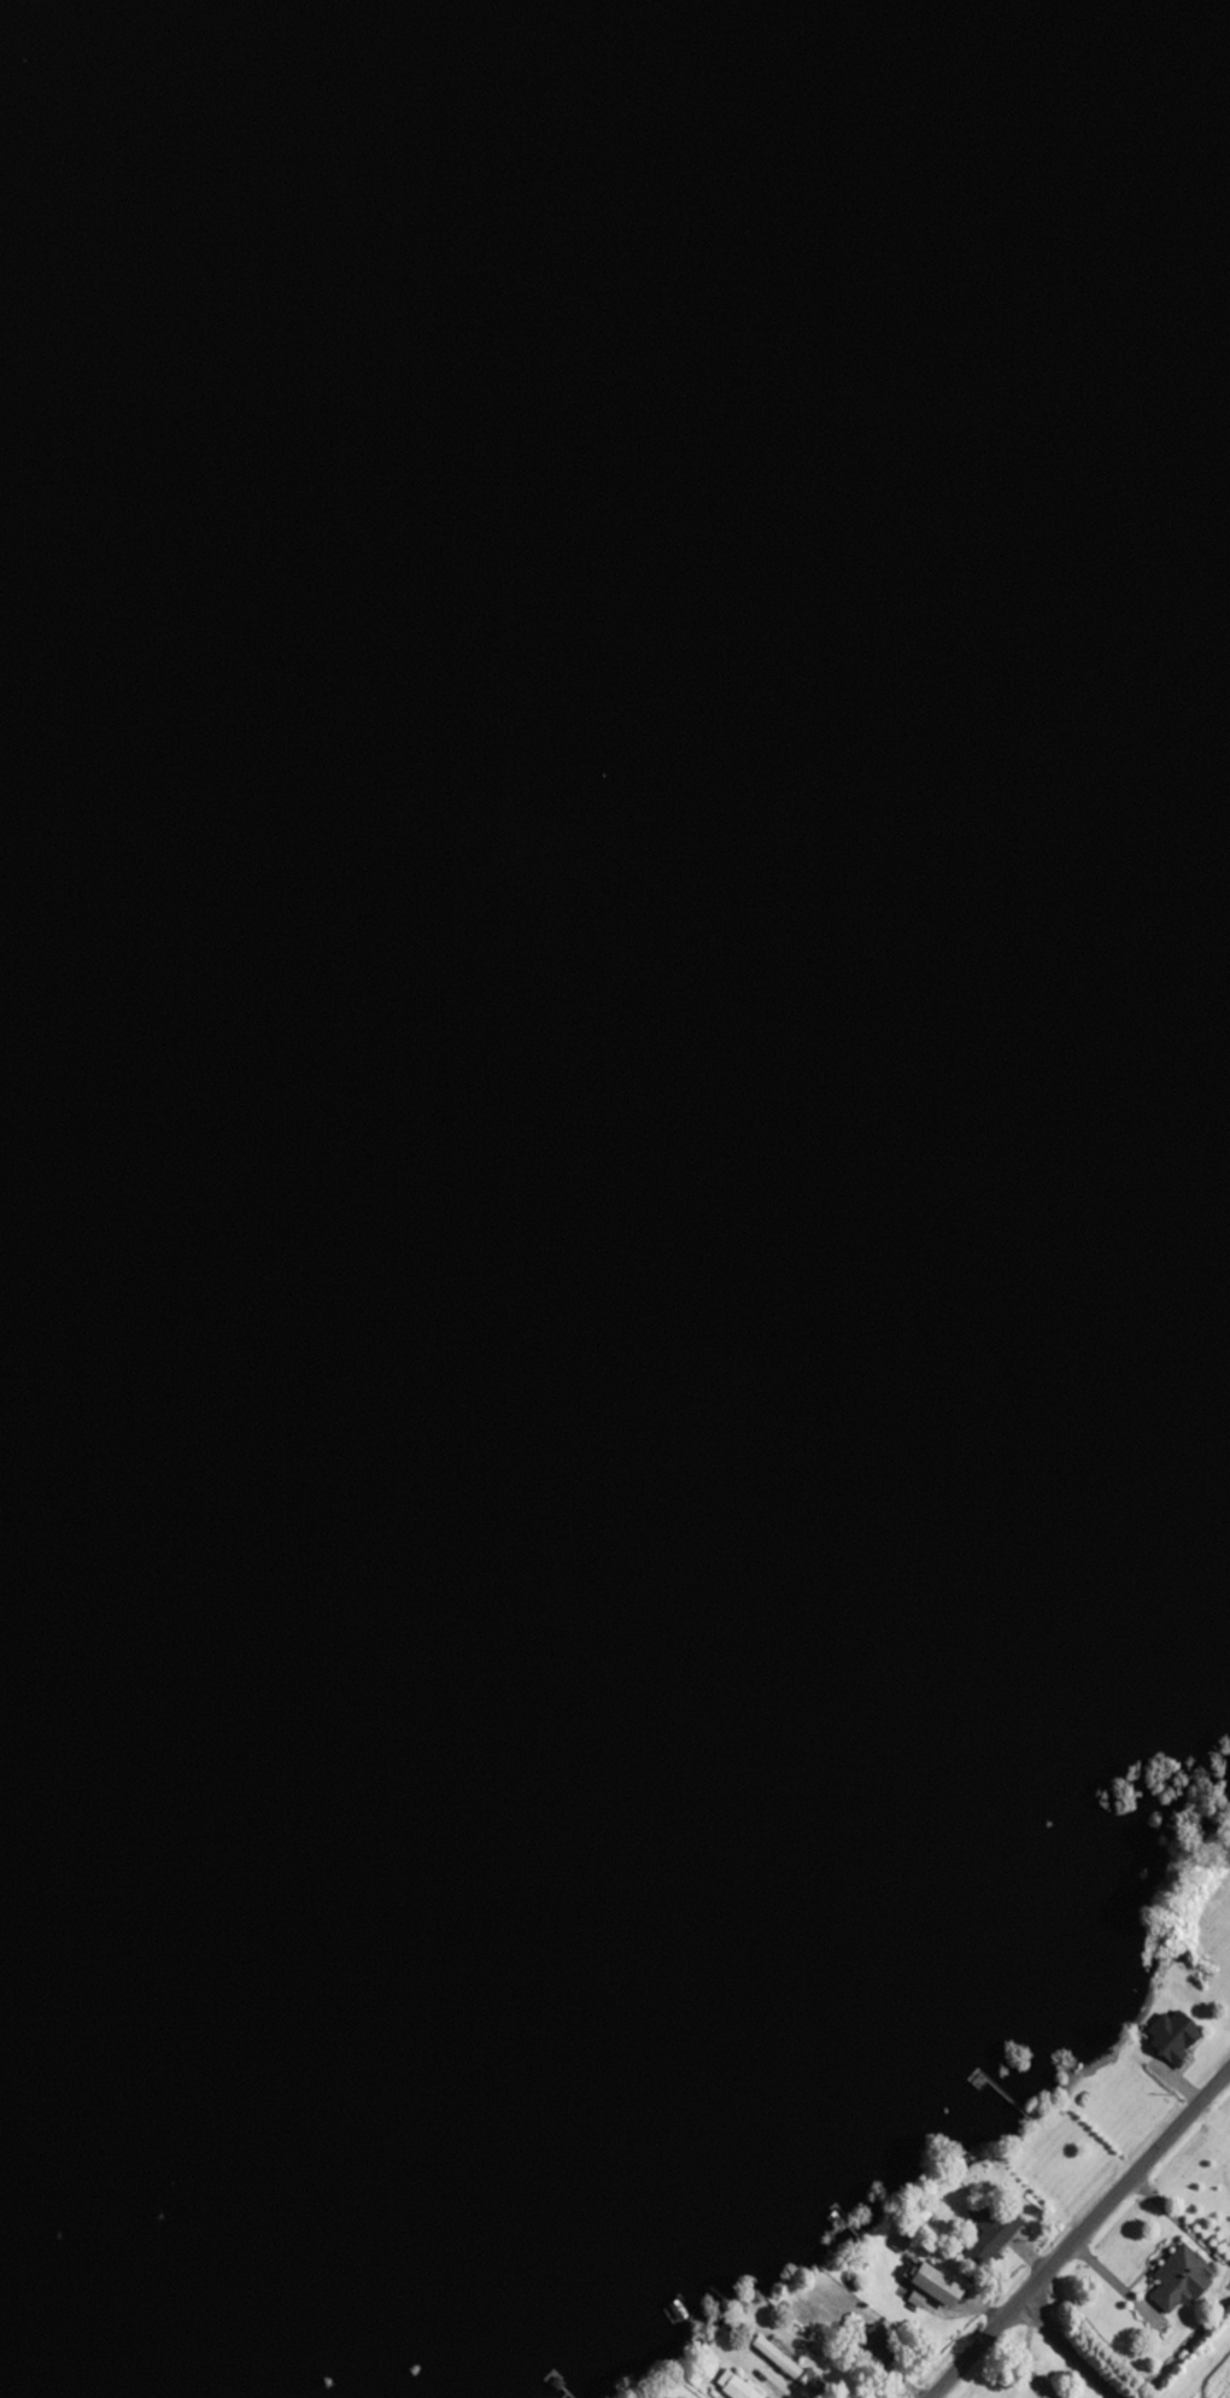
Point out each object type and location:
road: (1079, 2233)
building: (984, 2238)
building: (1168, 2277)
building: (924, 2283)
building: (866, 2343)
road: (1061, 2350)
building: (728, 2384)
road: (1103, 2397)

